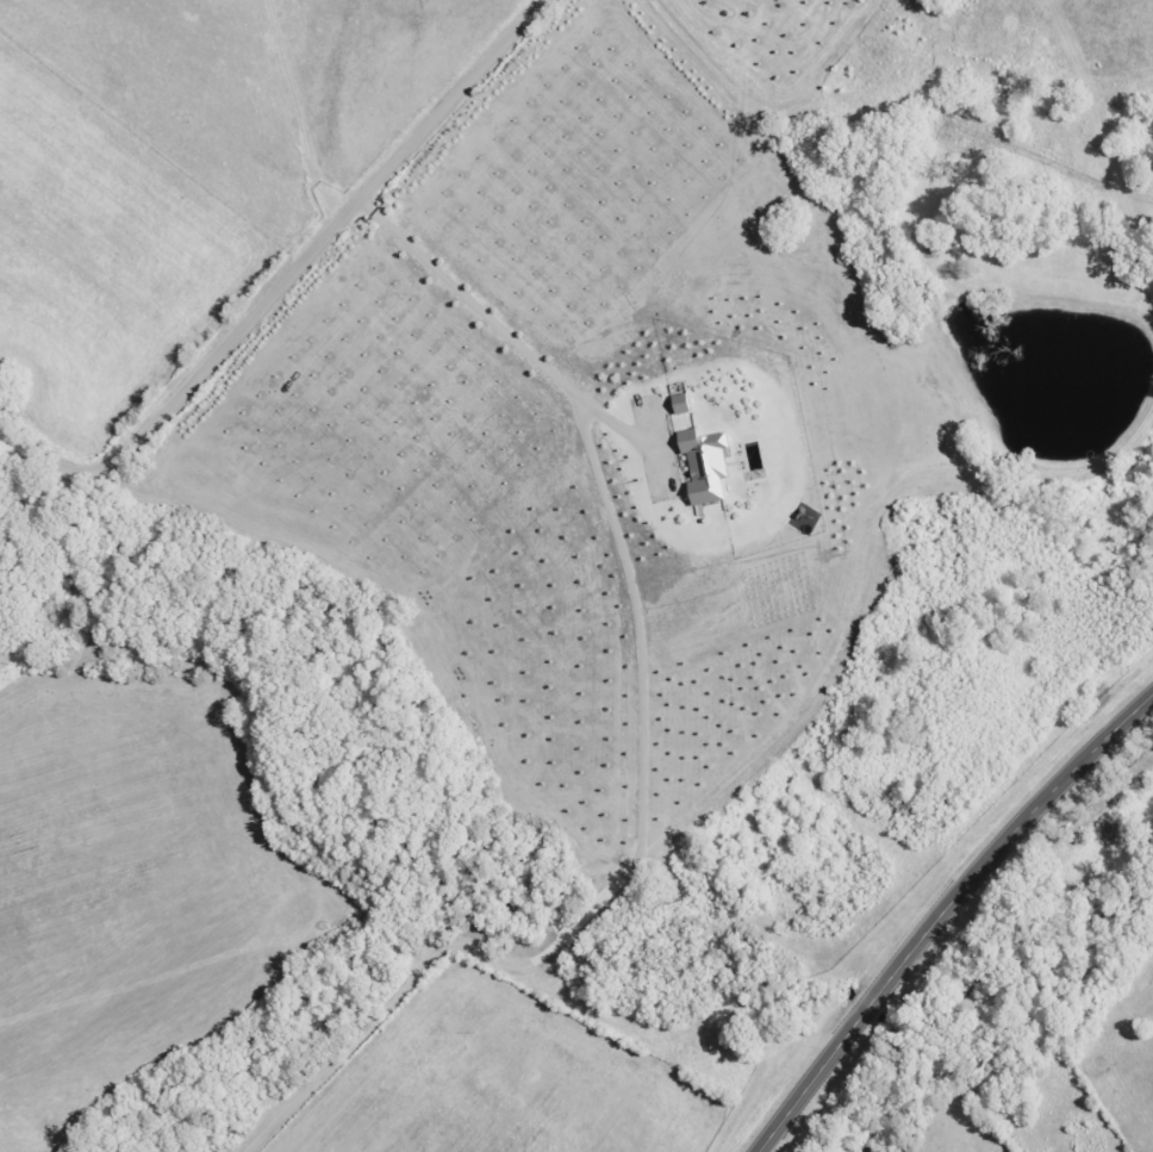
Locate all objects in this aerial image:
road: (291, 281)
building: (700, 467)
road: (943, 913)

